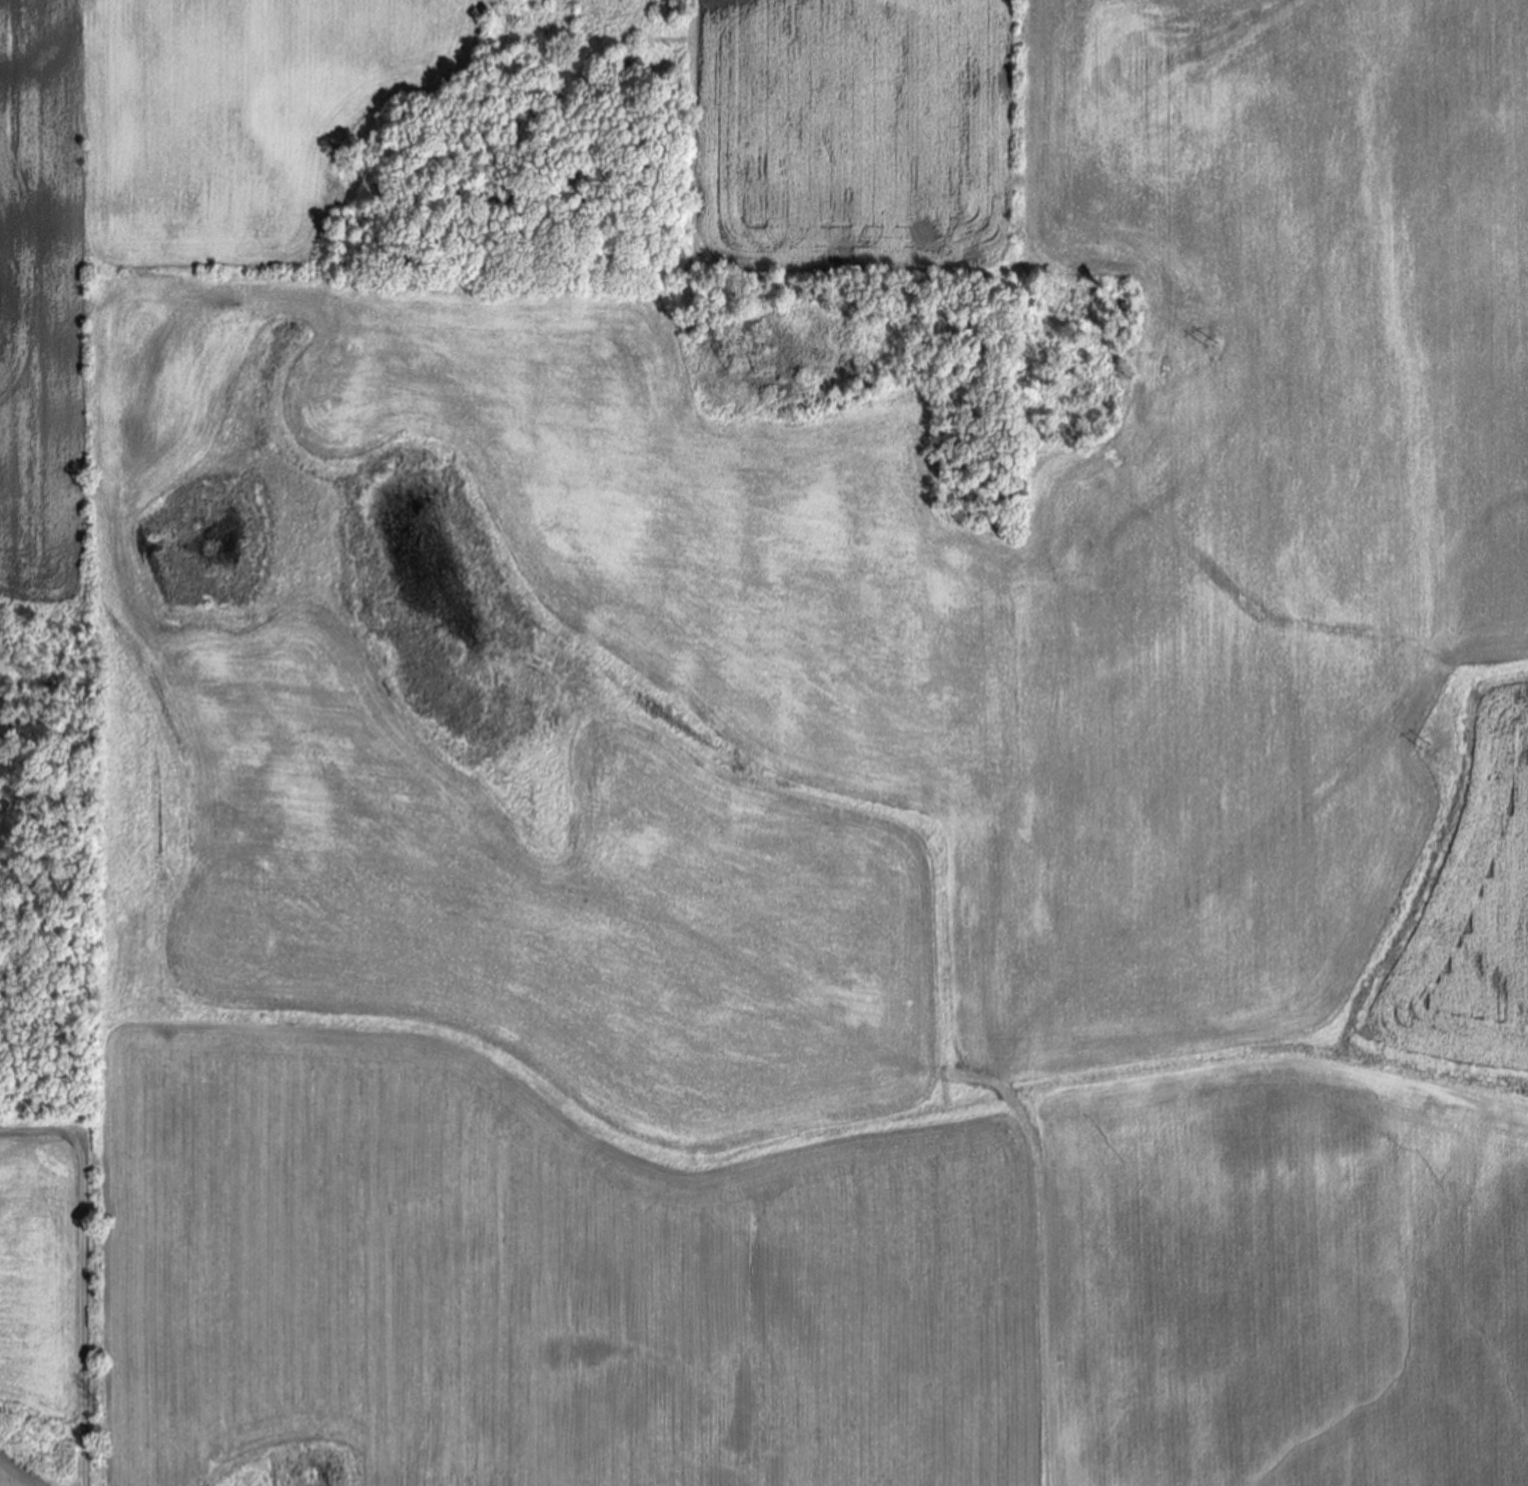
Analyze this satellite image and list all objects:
power tower: (1211, 348)
power tower: (1424, 747)
road: (81, 1271)

